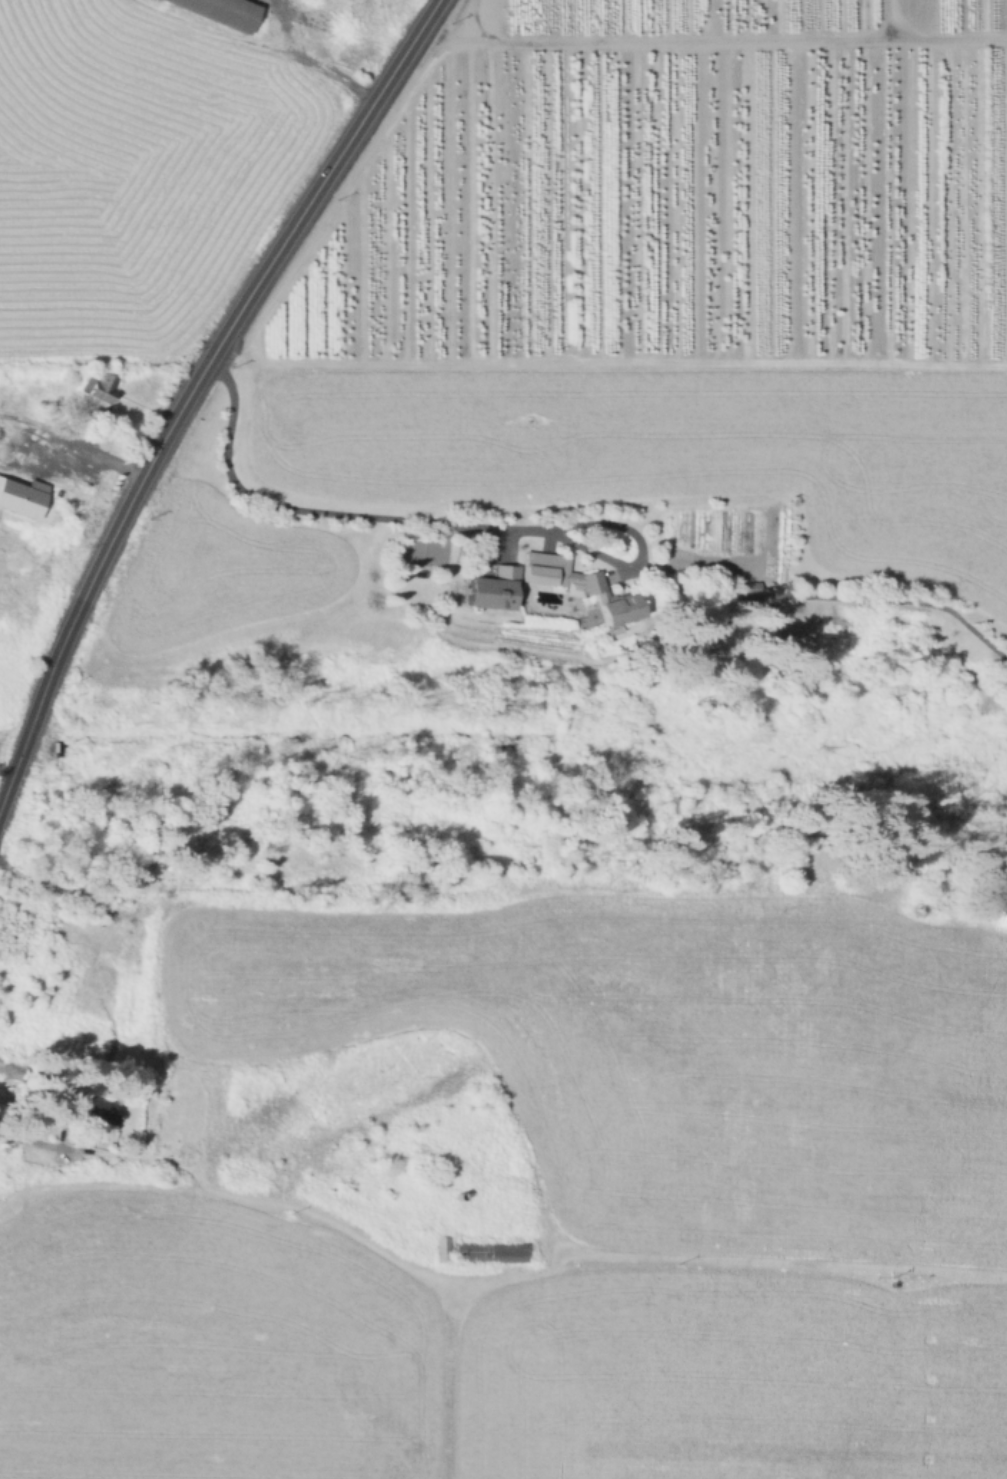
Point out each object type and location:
building: (223, 11)
road: (878, 18)
road: (284, 24)
road: (216, 31)
road: (710, 37)
road: (339, 77)
crop: (133, 172)
road: (249, 294)
building: (103, 386)
road: (72, 443)
road: (35, 453)
building: (19, 493)
road: (430, 520)
road: (505, 543)
building: (542, 566)
crop: (23, 570)
building: (592, 583)
building: (754, 585)
building: (490, 586)
building: (571, 587)
road: (825, 594)
building: (617, 606)
road: (38, 703)
crop: (673, 1050)
building: (98, 1108)
road: (36, 1140)
crop: (1005, 1230)
building: (444, 1248)
building: (494, 1252)
road: (485, 1272)
crop: (208, 1344)
road: (447, 1375)
crop: (730, 1377)

